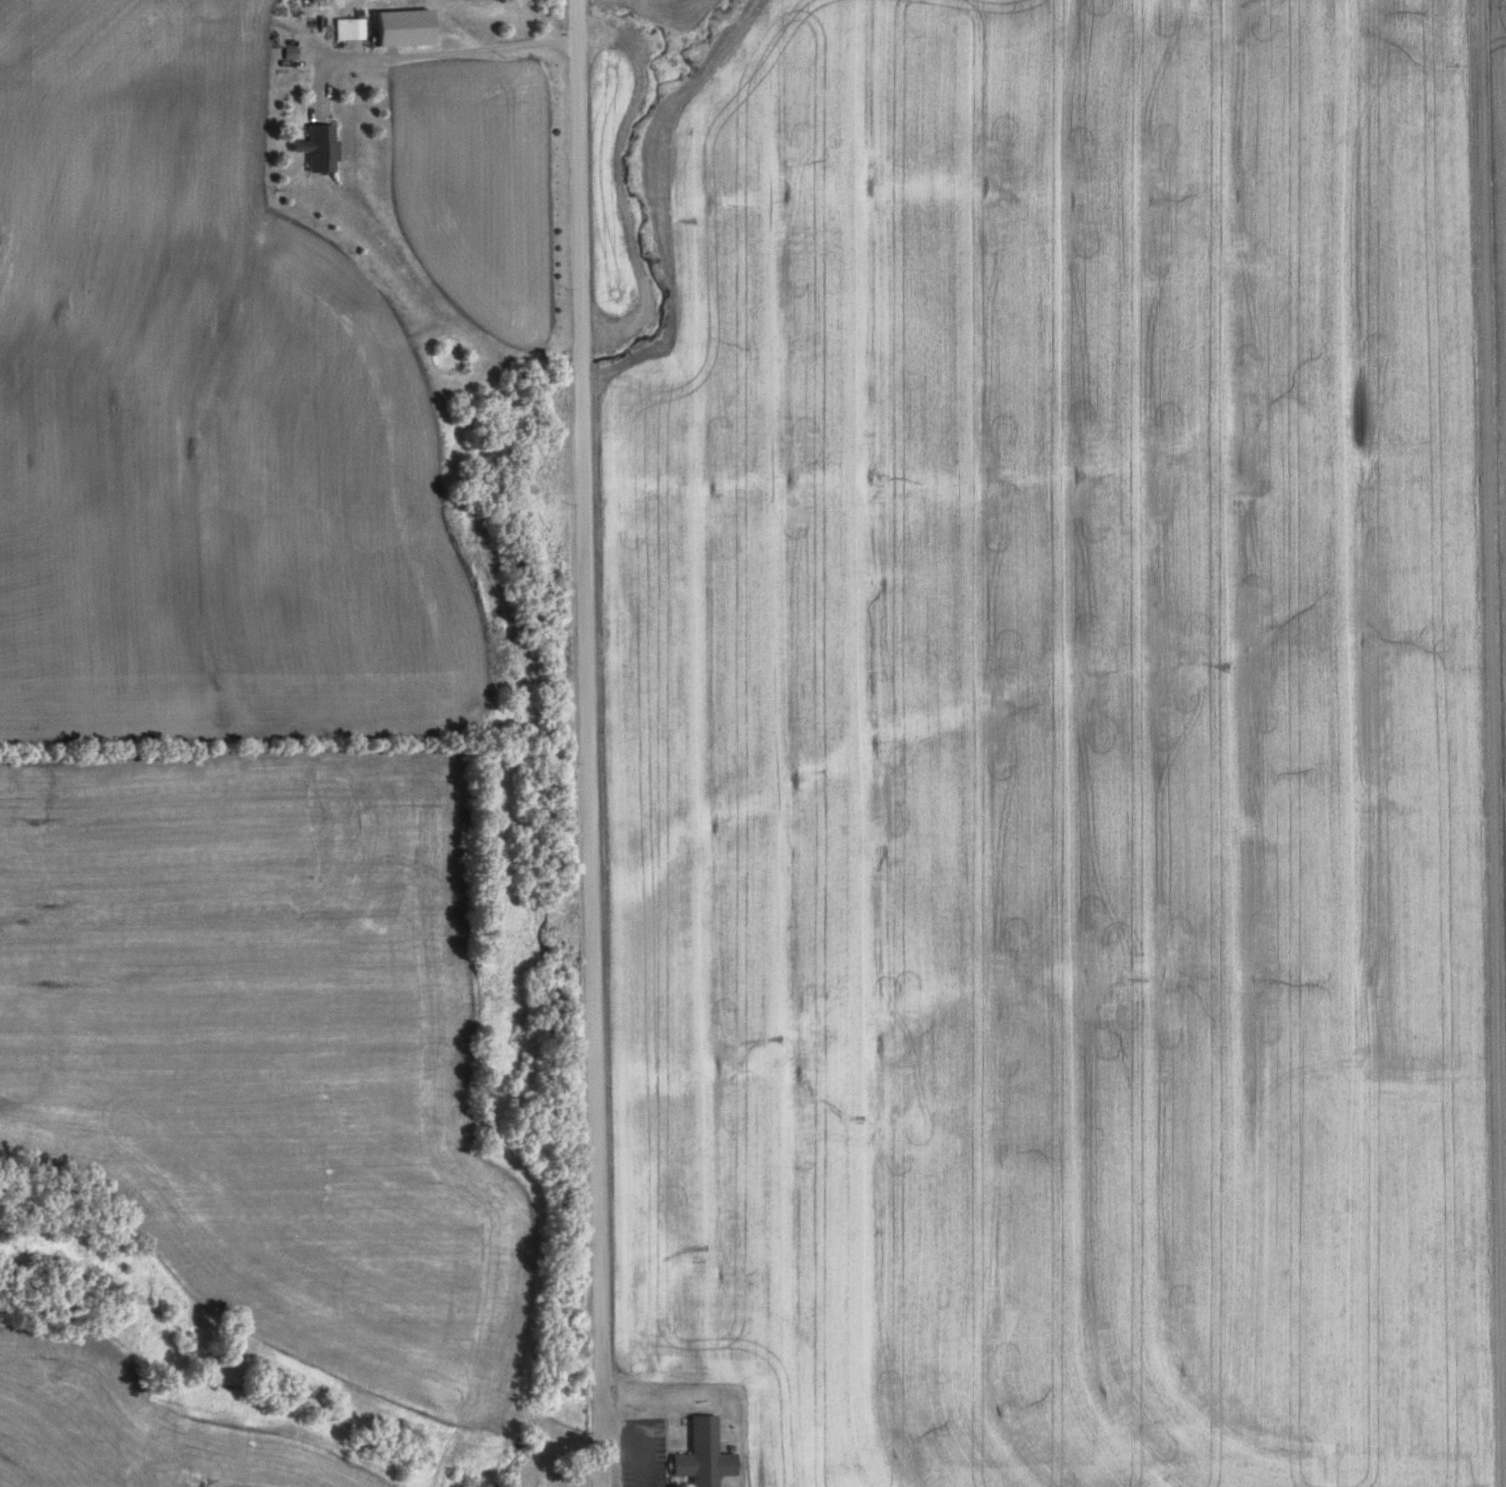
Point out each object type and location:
building: (349, 27)
building: (385, 27)
building: (317, 146)
road: (587, 743)
road: (1491, 743)
building: (703, 1455)

